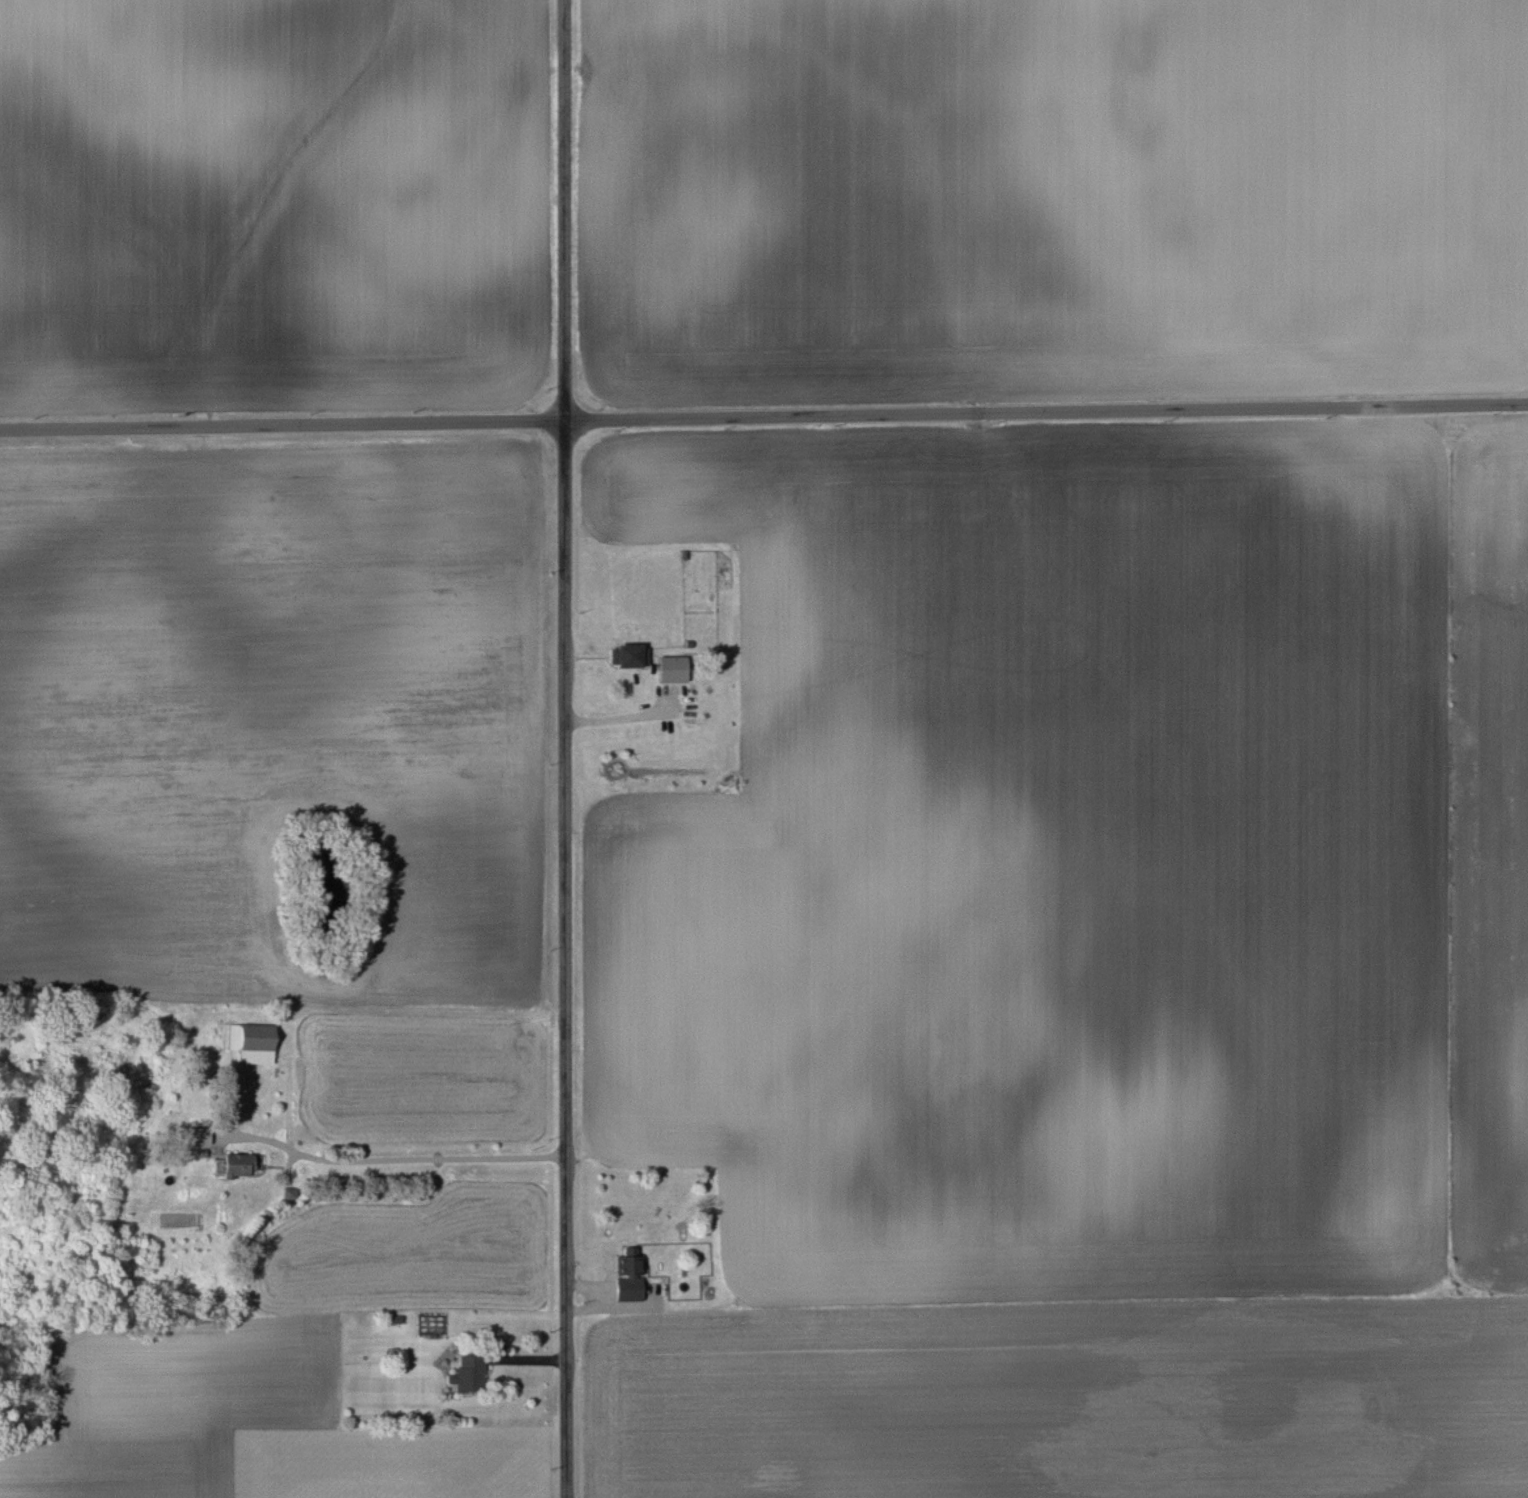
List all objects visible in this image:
road: (764, 416)
building: (626, 654)
building: (667, 668)
road: (623, 713)
road: (565, 748)
building: (250, 1042)
building: (196, 1135)
road: (401, 1157)
building: (232, 1164)
building: (626, 1275)
building: (465, 1373)

